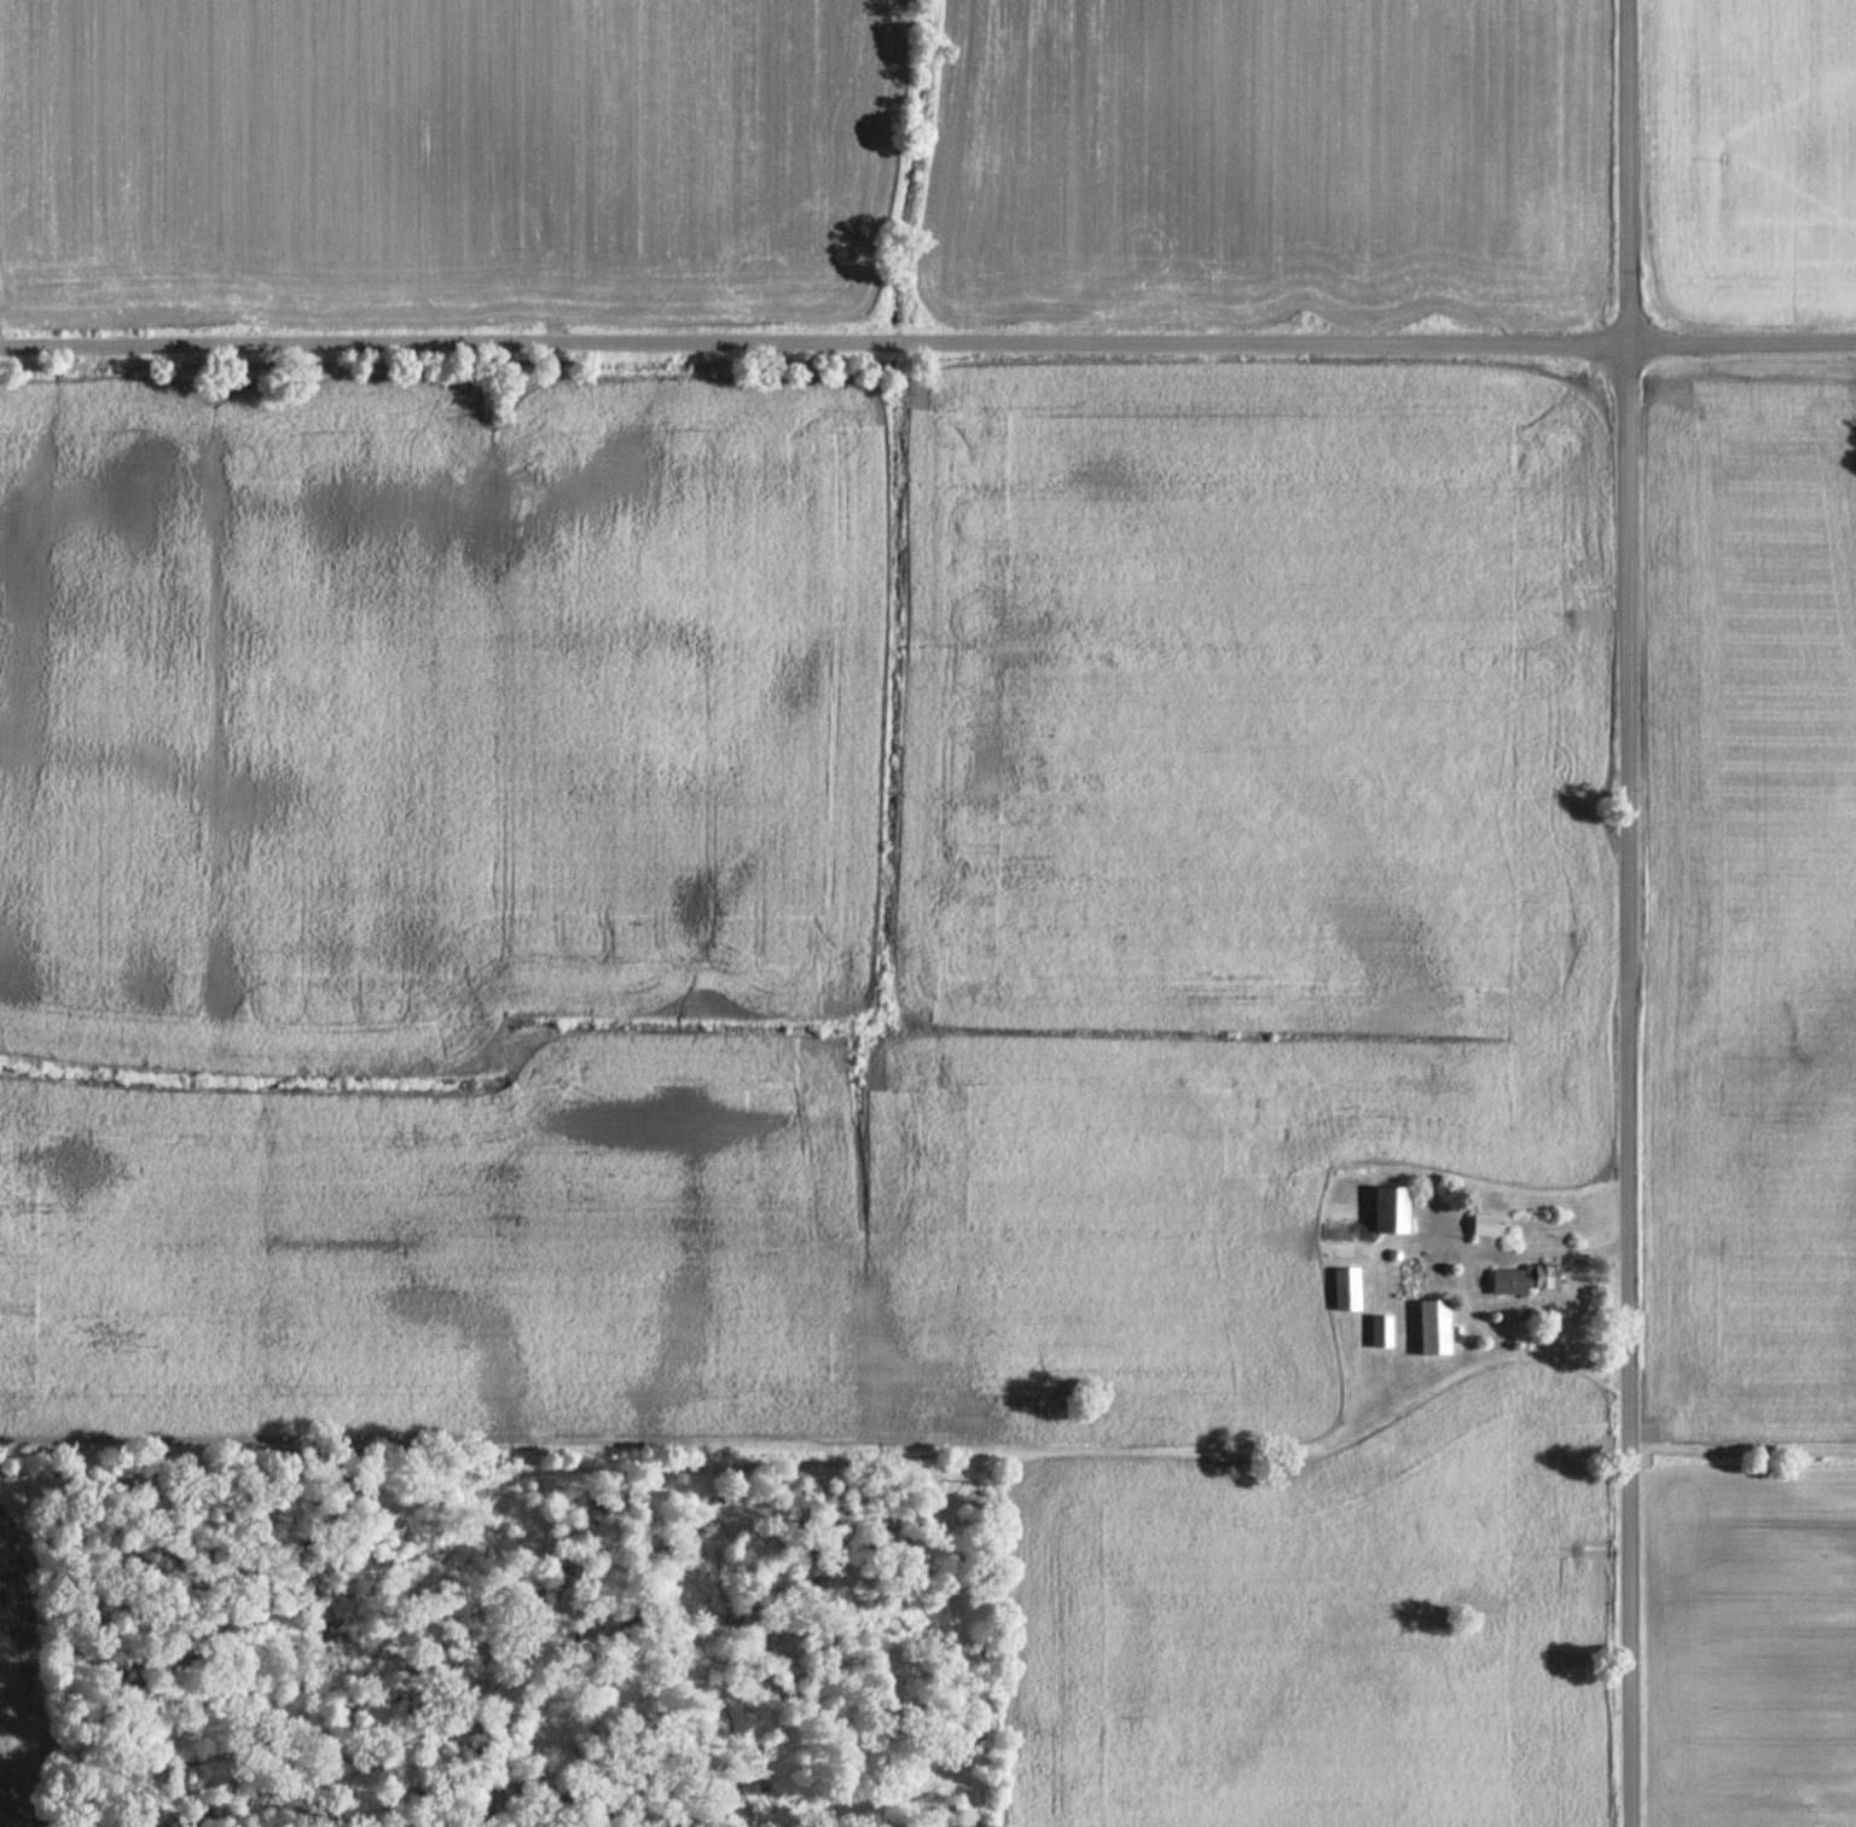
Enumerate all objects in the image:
crop: (446, 159)
crop: (1269, 164)
road: (927, 337)
road: (1626, 912)
building: (1373, 1213)
building: (1484, 1219)
building: (1392, 1251)
building: (1524, 1272)
building: (1408, 1275)
building: (1345, 1284)
road: (1461, 1286)
building: (1432, 1322)
building: (1380, 1327)
building: (1454, 1329)

